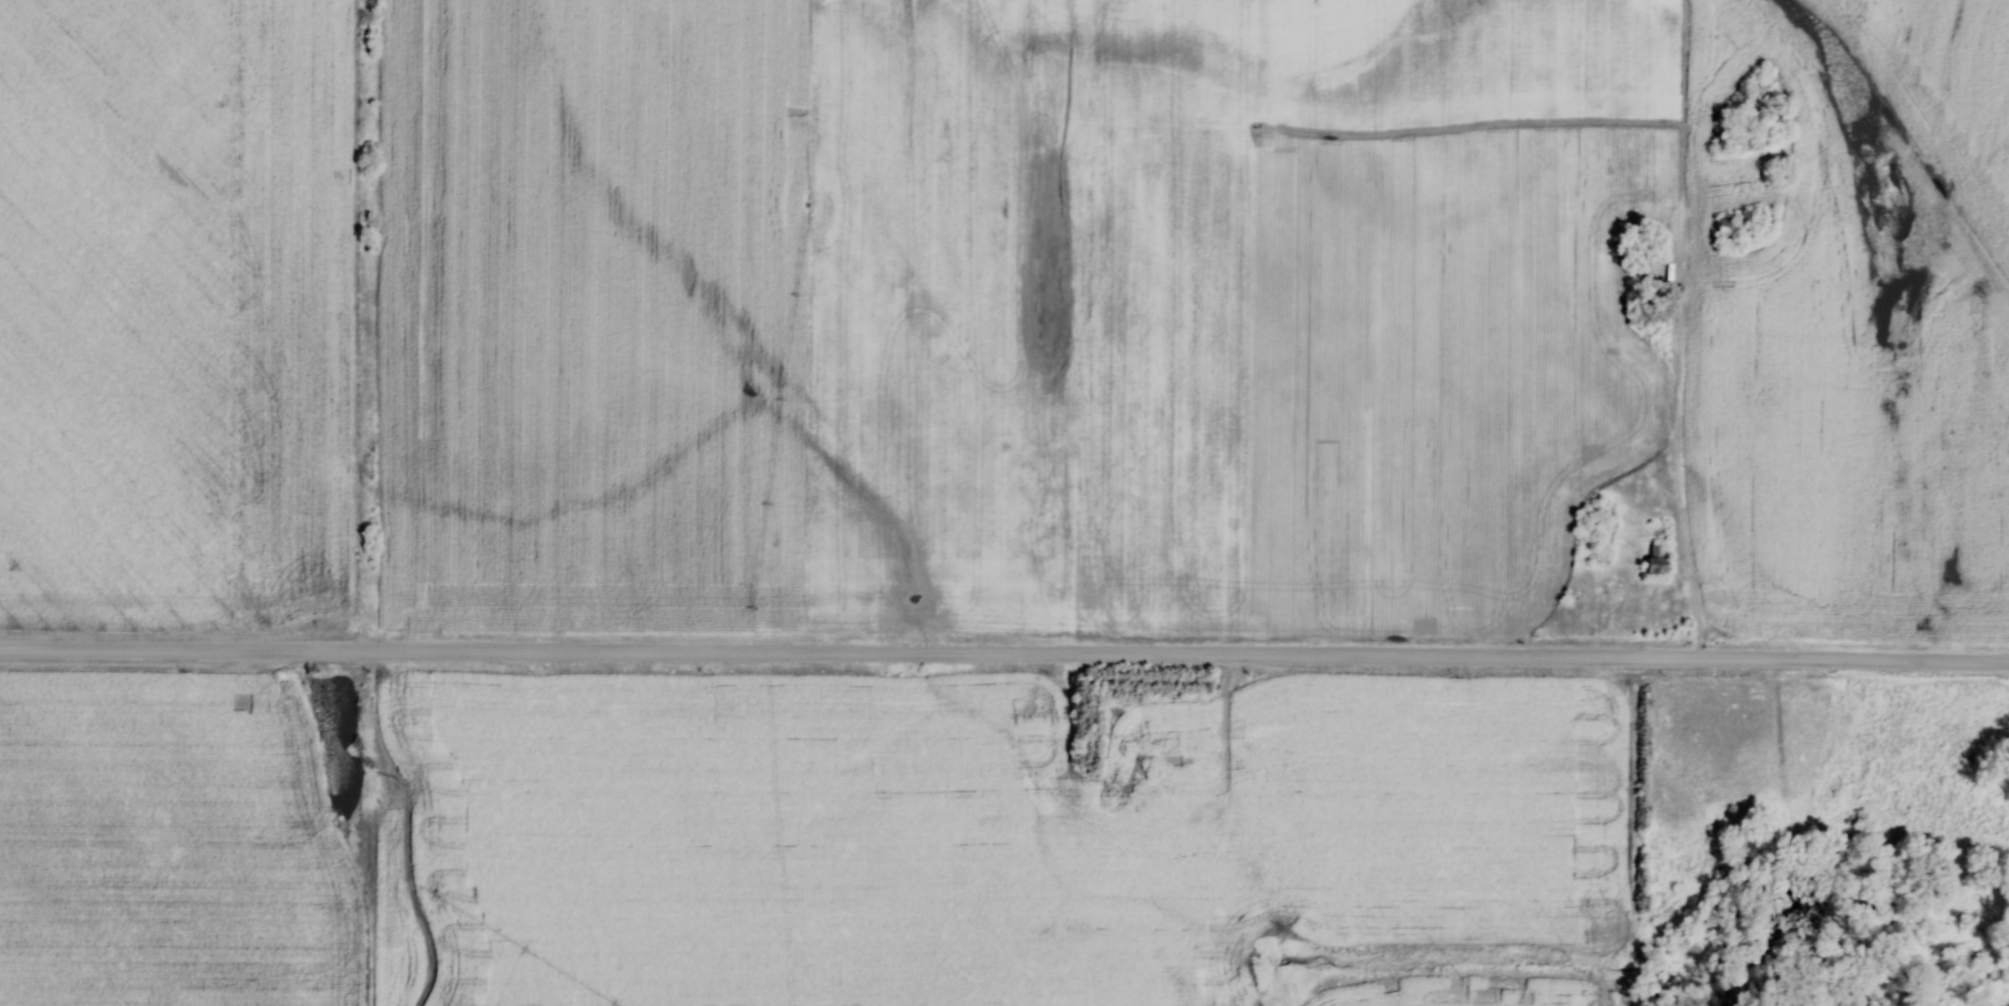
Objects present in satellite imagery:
building: (1762, 219)
building: (1722, 226)
building: (1651, 559)
road: (1004, 650)
road: (1229, 759)
building: (1137, 792)
building: (1261, 862)

